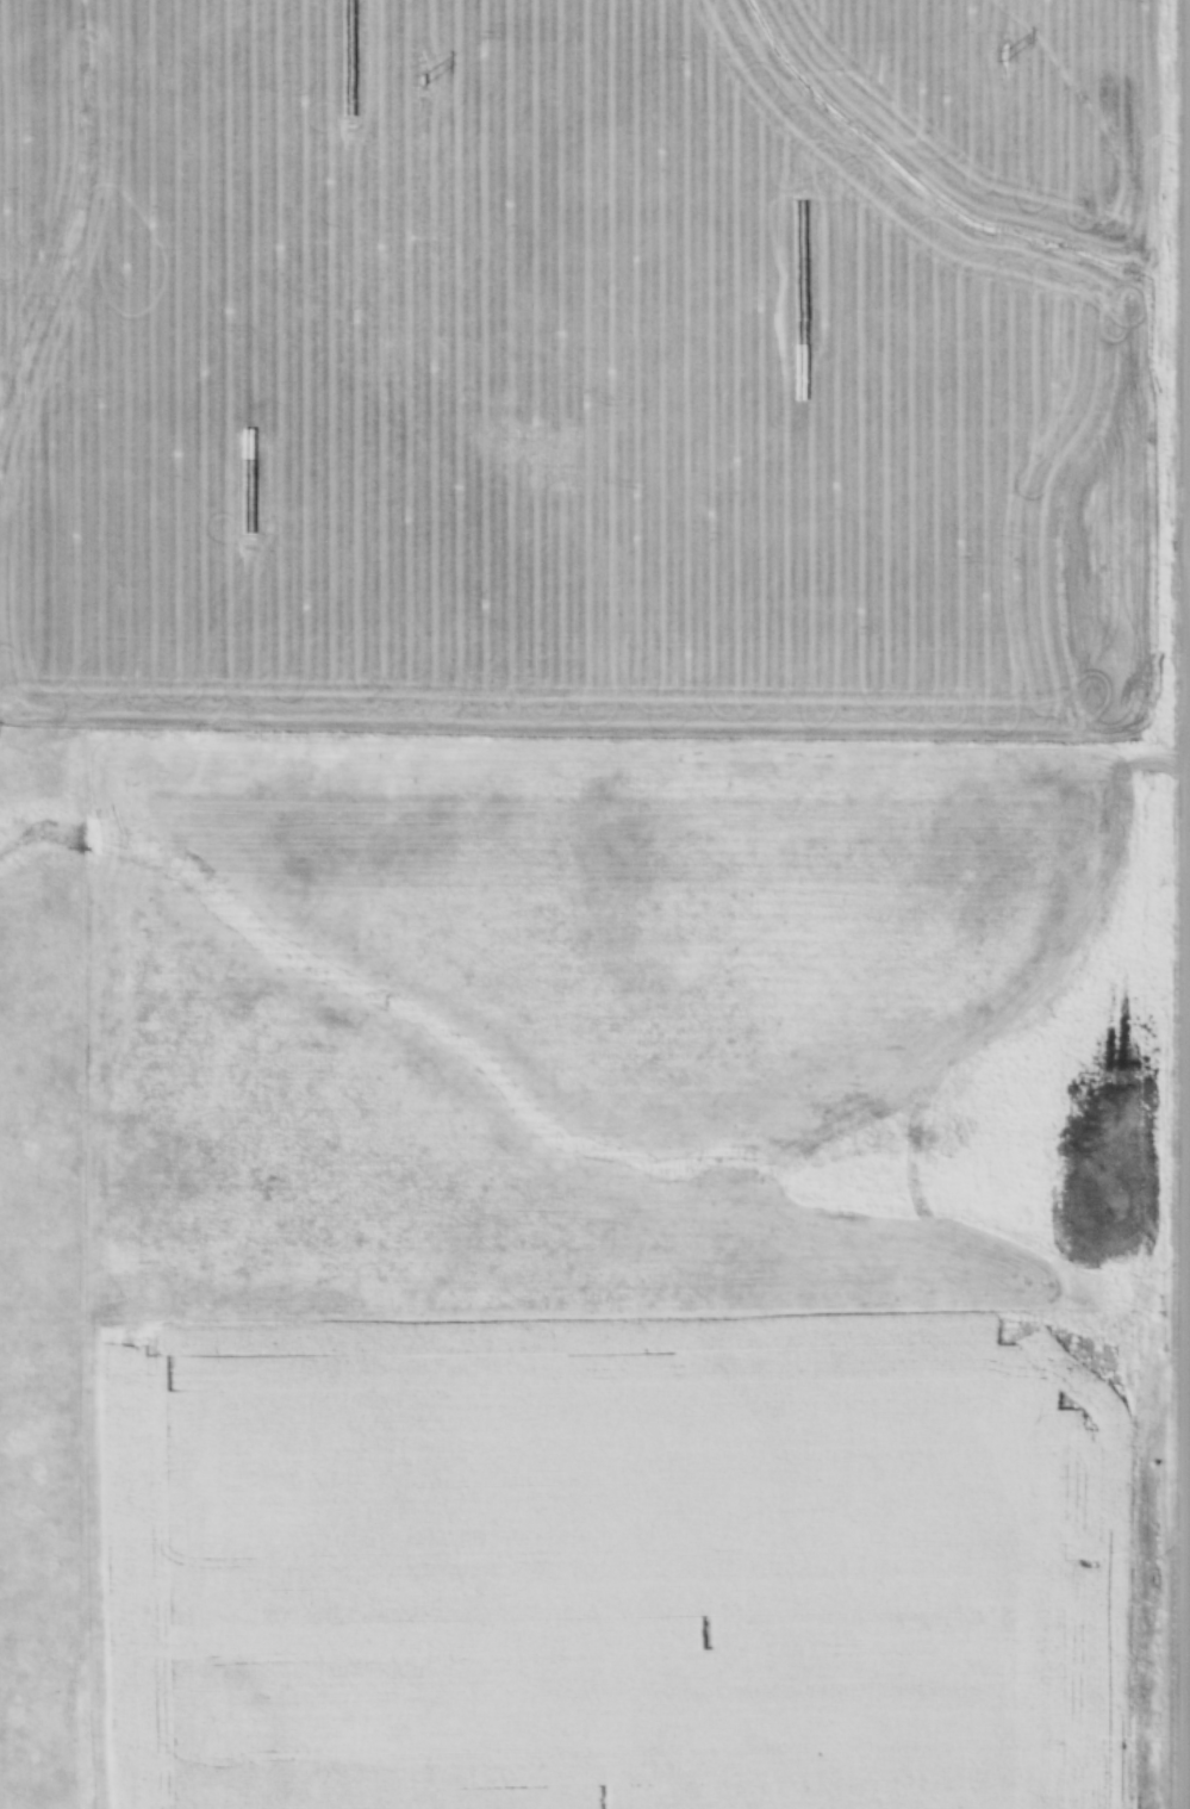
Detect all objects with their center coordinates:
power tower: (1003, 57)
power tower: (423, 81)
road: (1185, 904)

